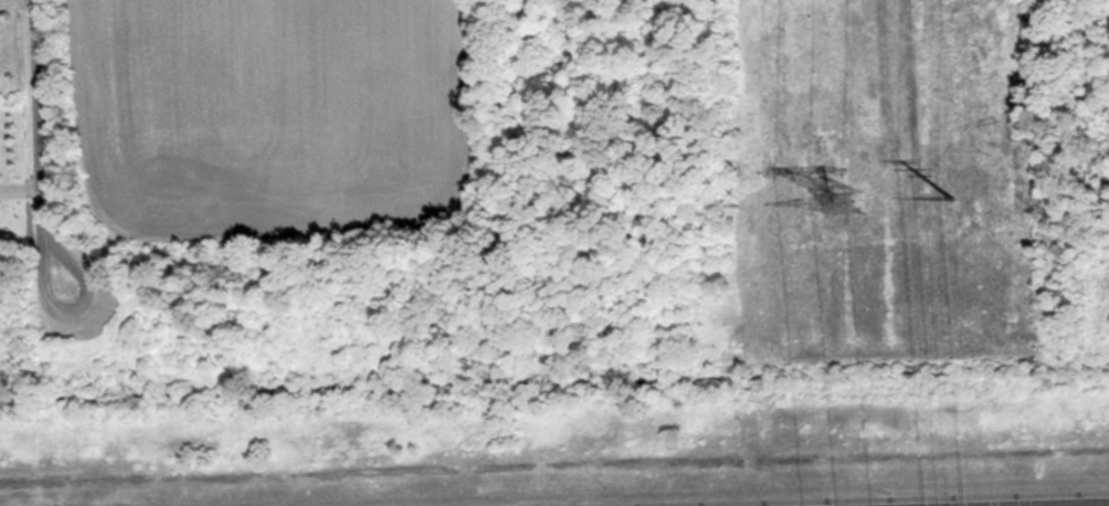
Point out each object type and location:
road: (32, 161)
power tower: (955, 192)
power tower: (836, 215)
road: (1063, 504)

